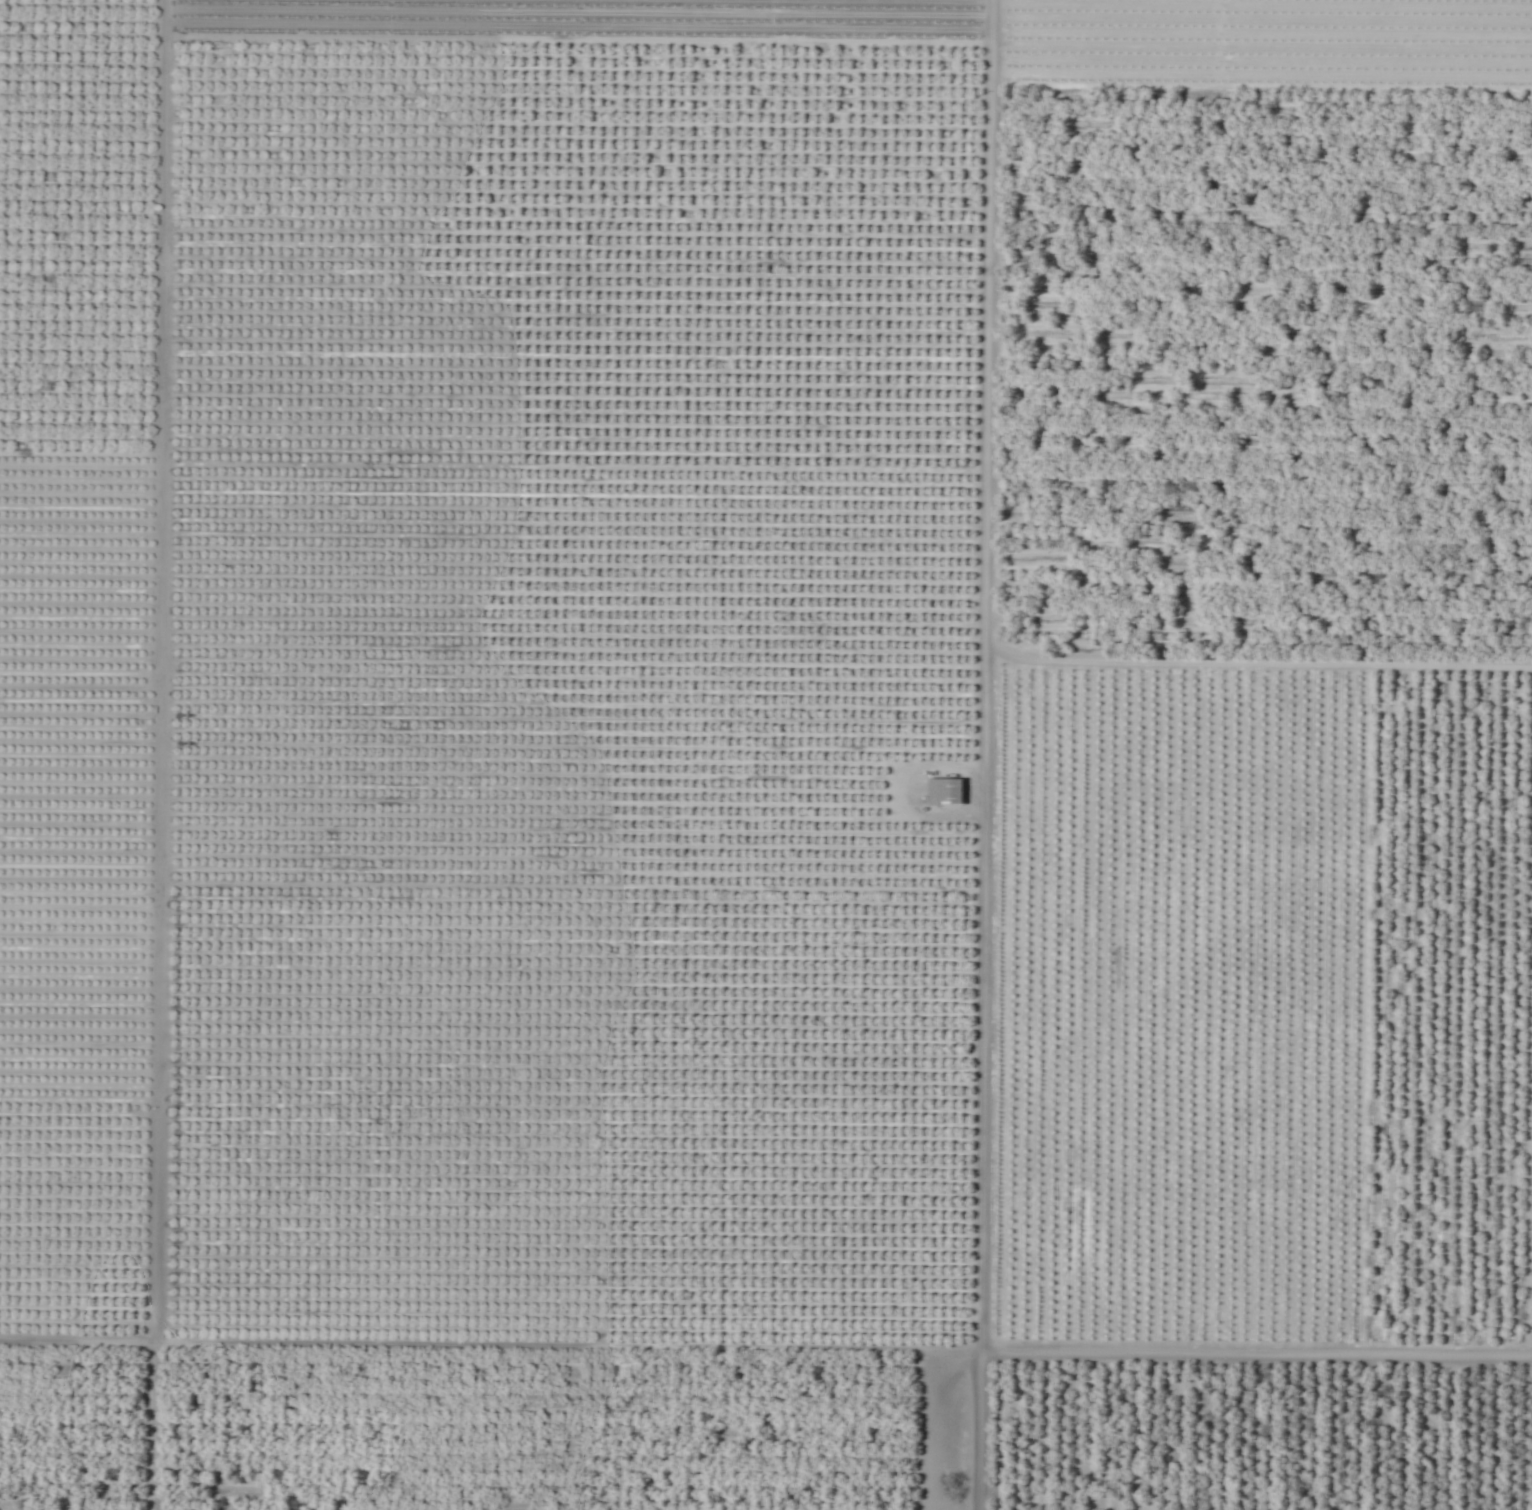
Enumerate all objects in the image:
road: (1257, 667)
road: (981, 668)
road: (153, 669)
crop: (766, 755)
building: (943, 792)
road: (766, 1338)

